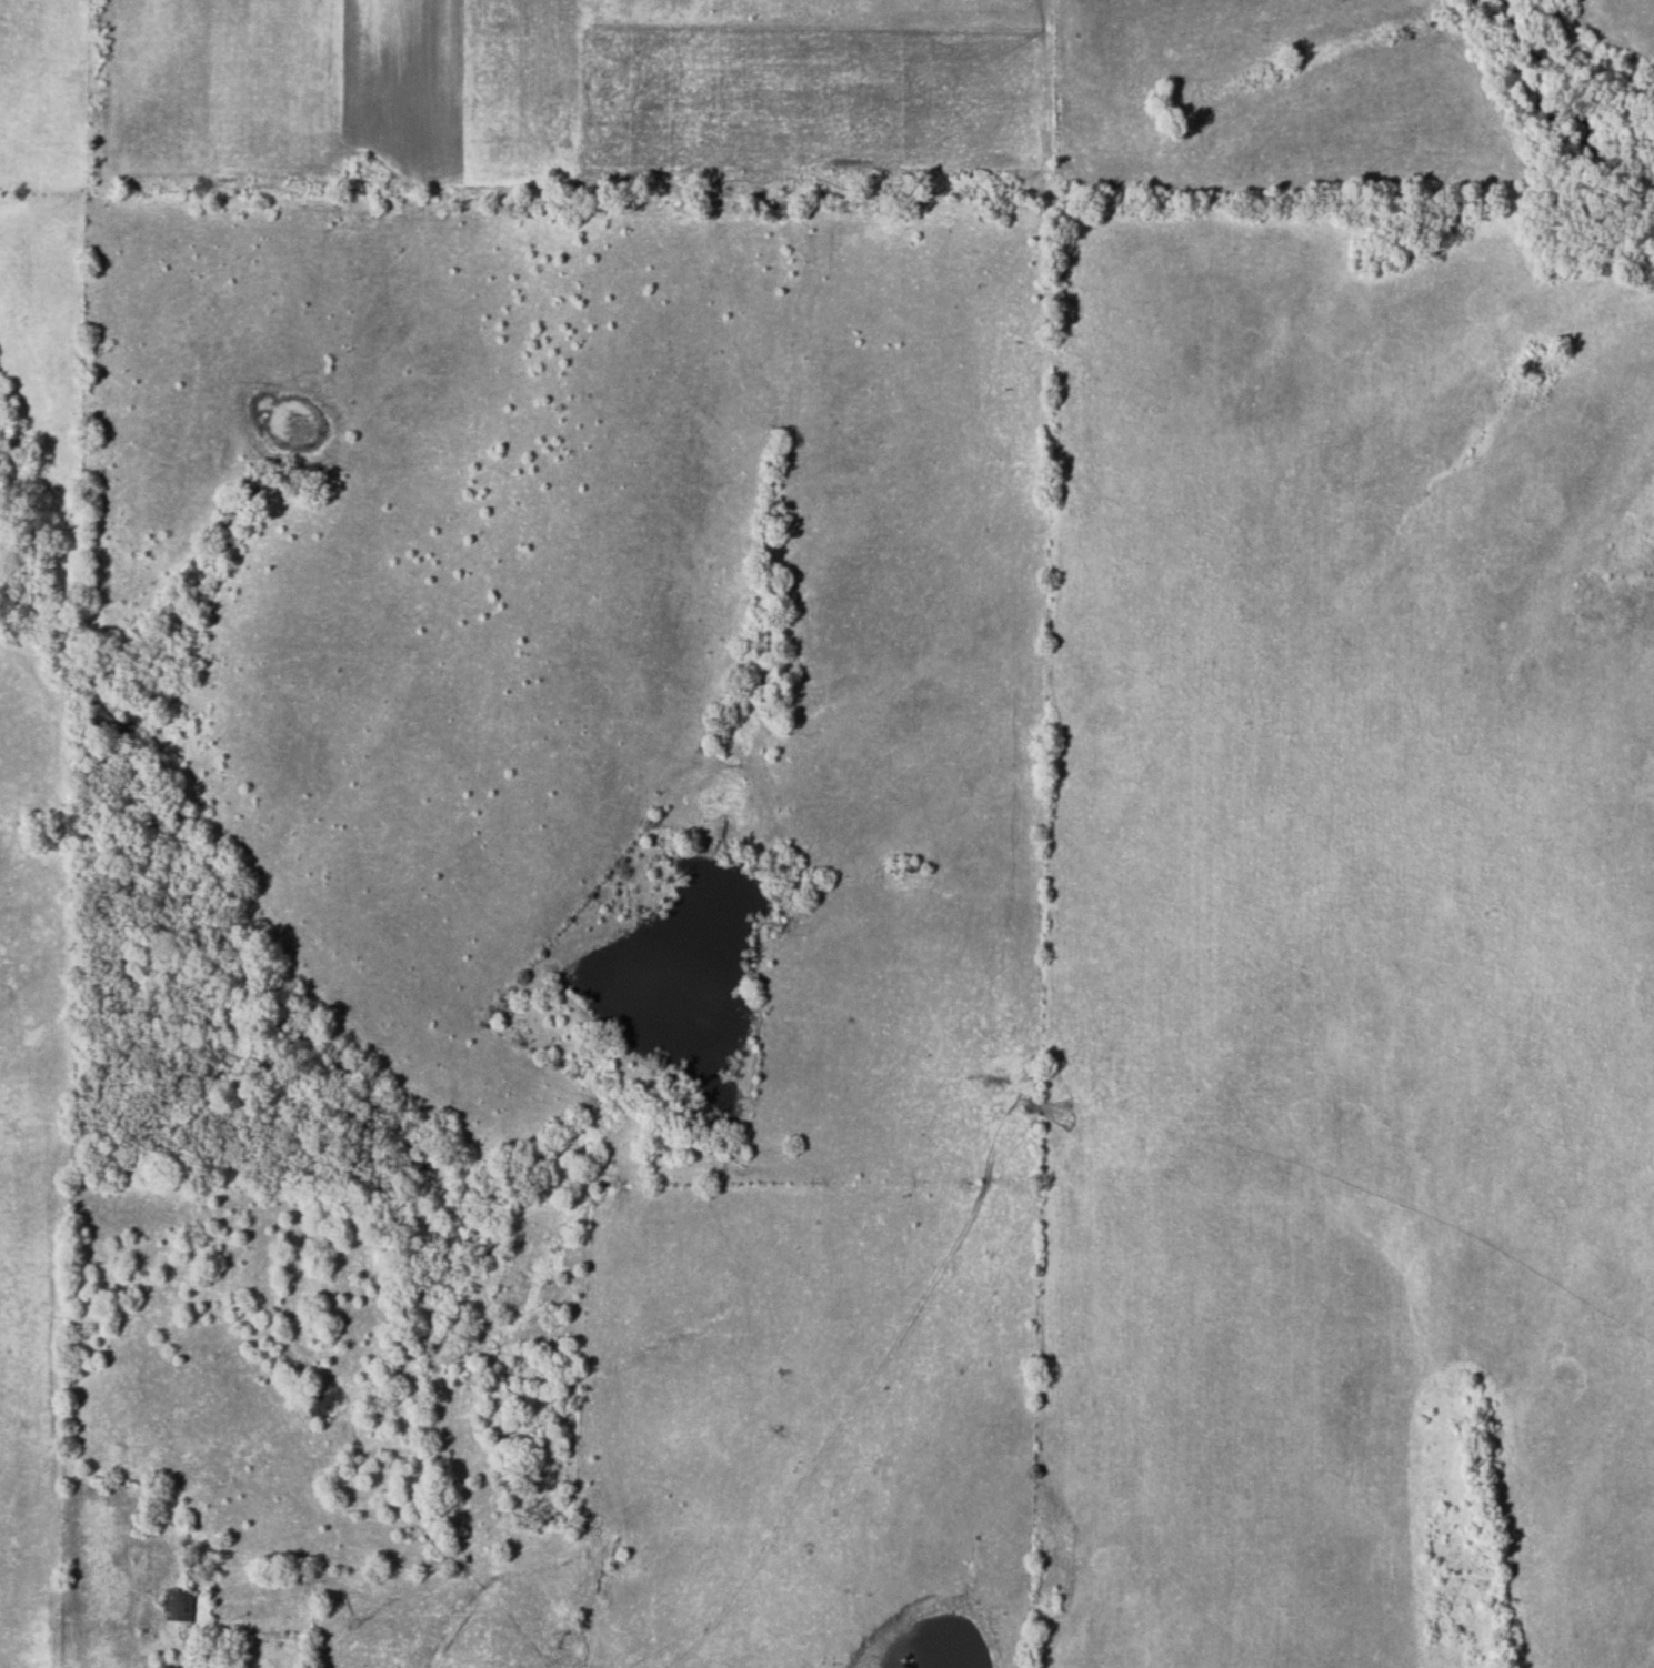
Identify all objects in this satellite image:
building: (176, 1604)

